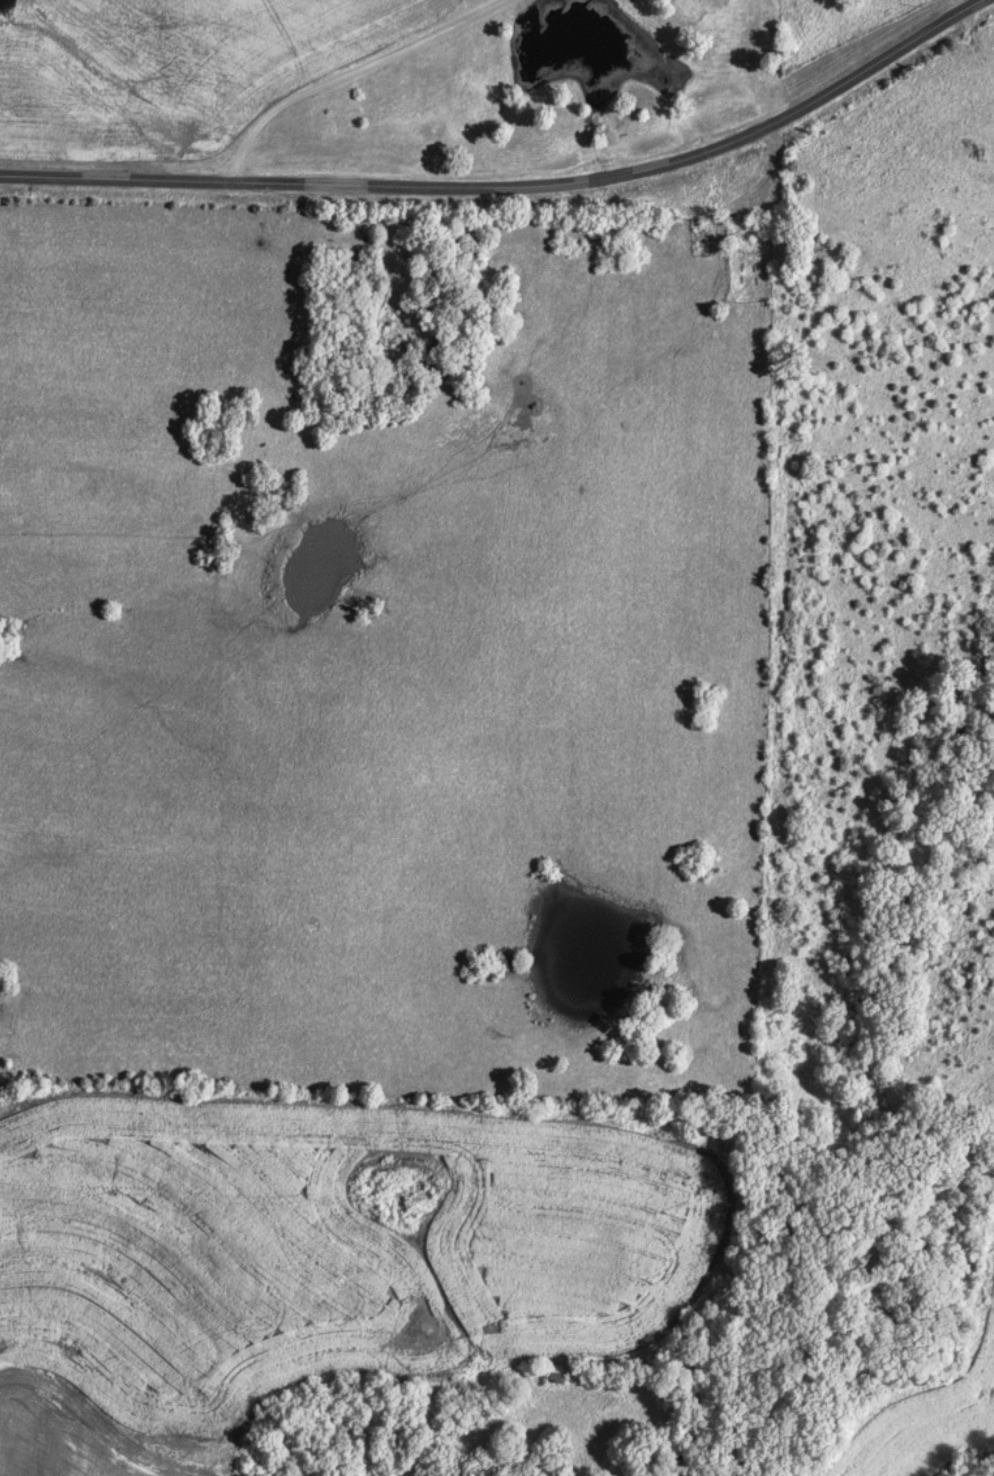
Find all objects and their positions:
road: (348, 73)
road: (510, 185)
building: (547, 1377)

